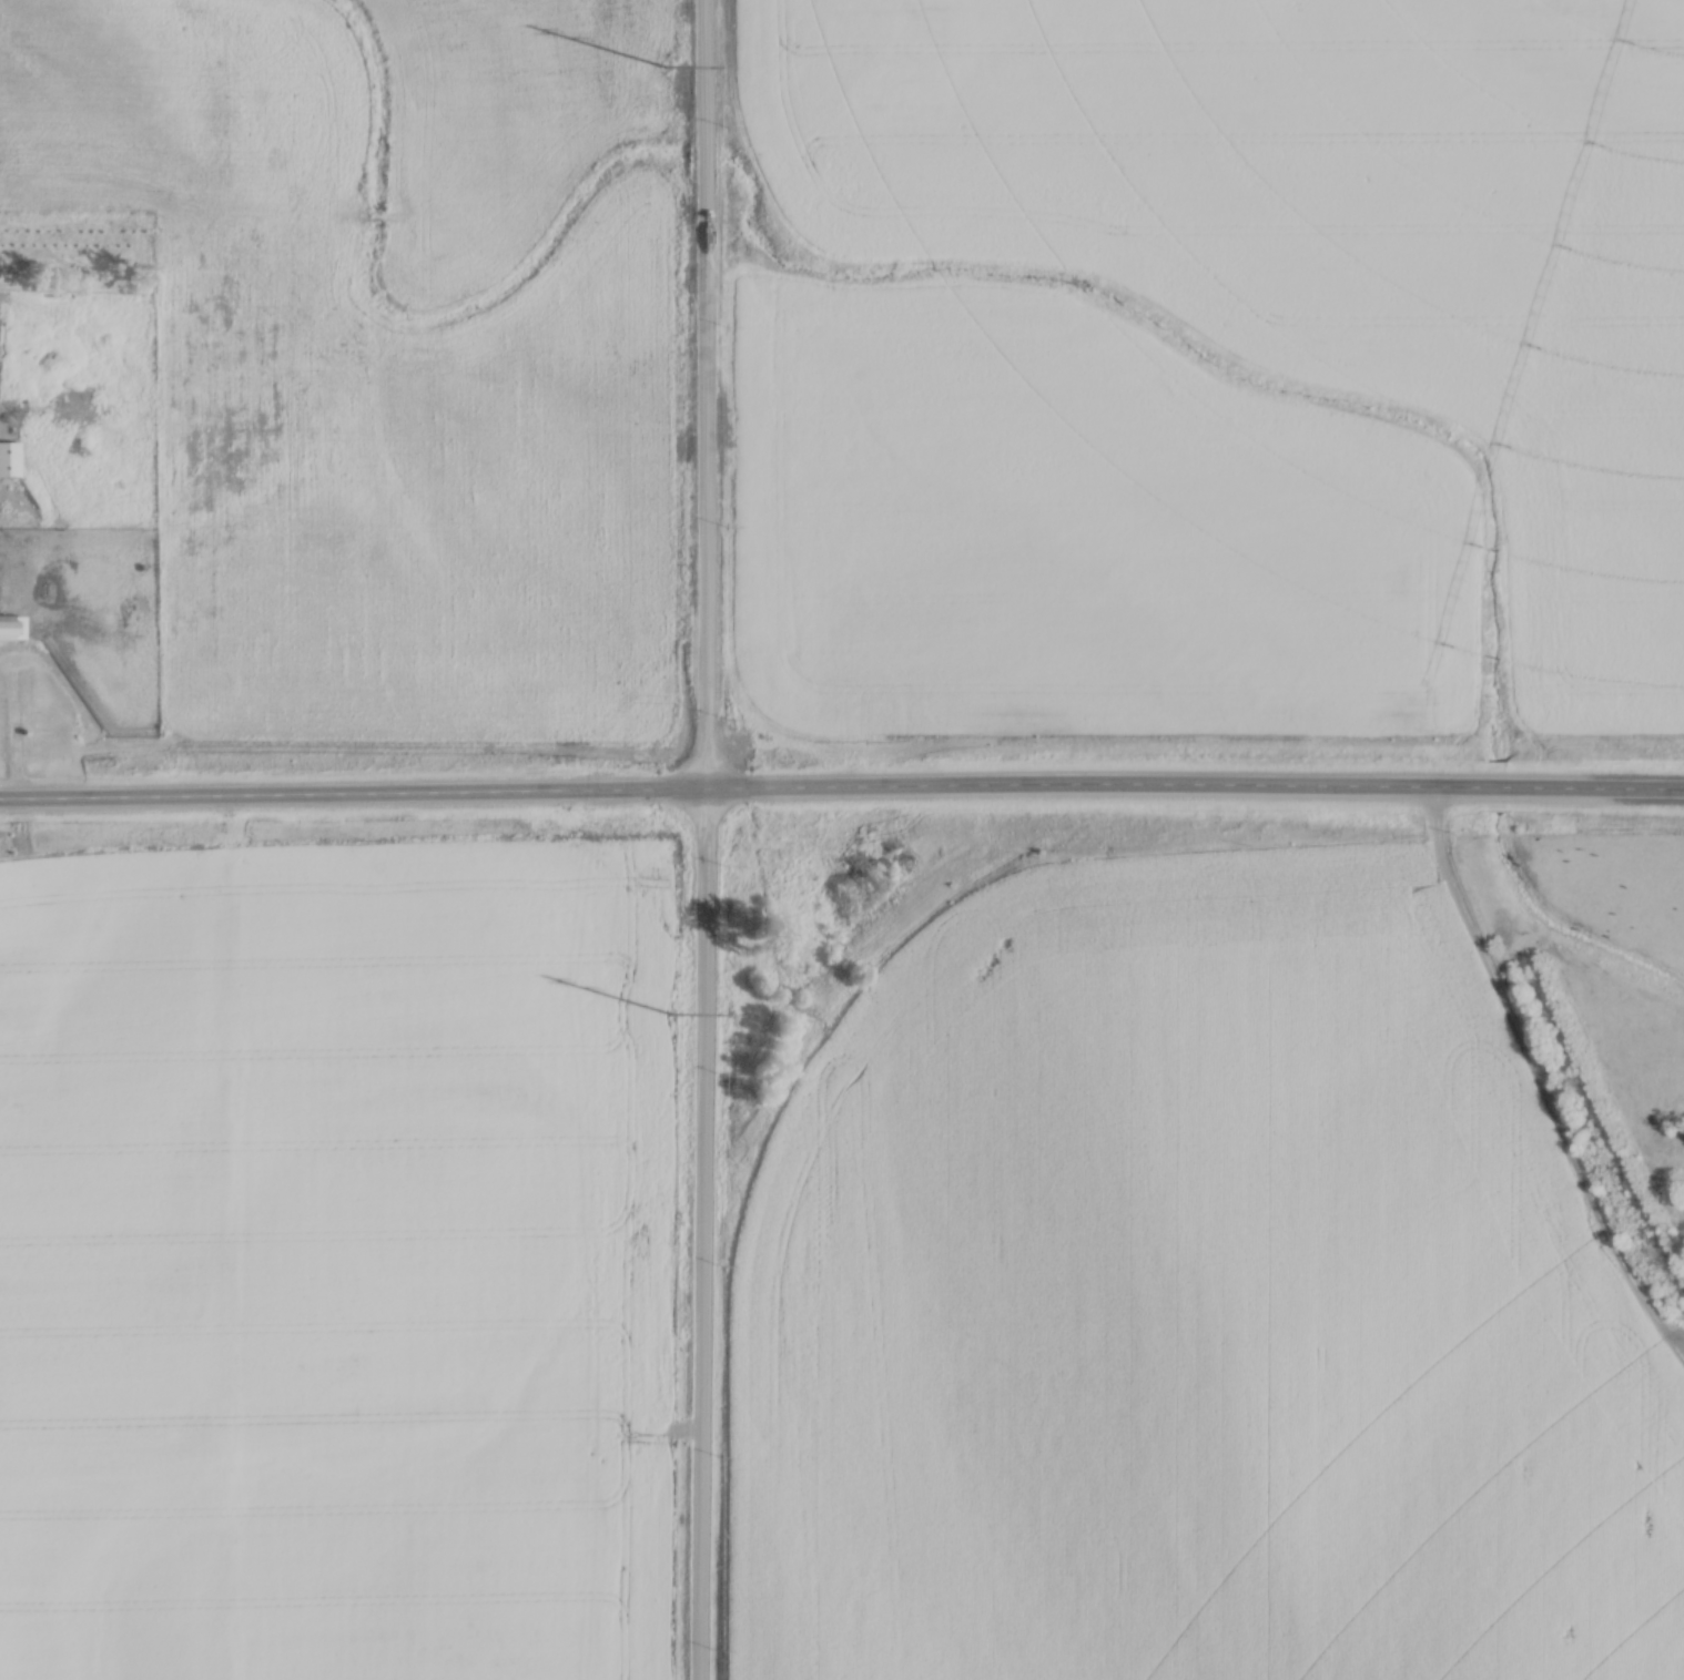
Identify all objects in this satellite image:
power tower: (665, 65)
building: (7, 459)
building: (2, 629)
road: (841, 797)
road: (706, 839)
road: (882, 970)
power tower: (669, 1012)
road: (1546, 1096)

